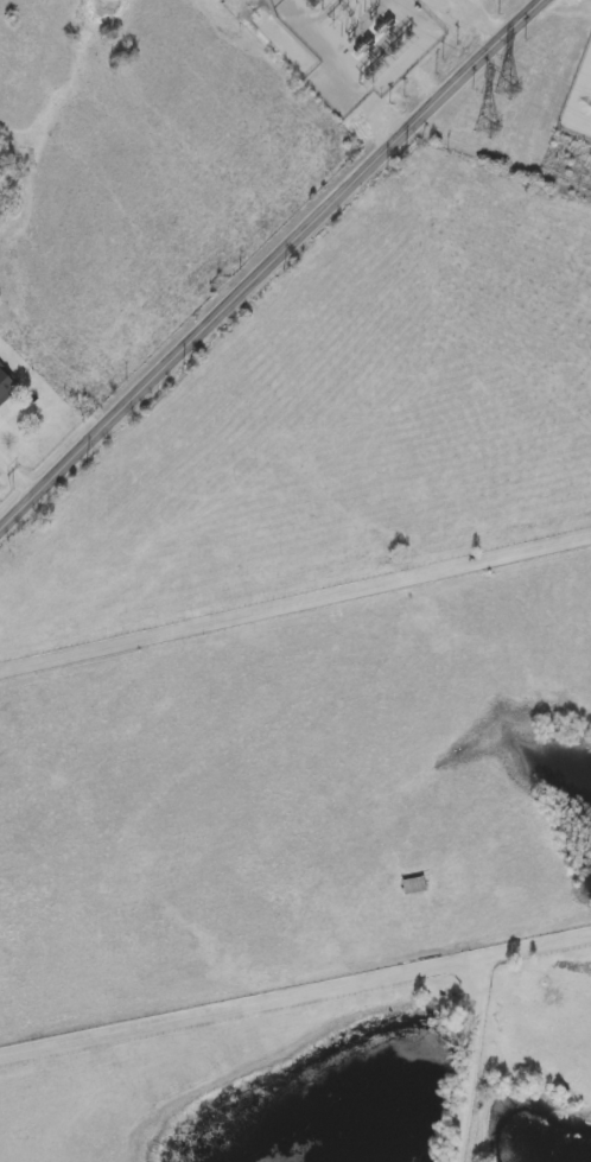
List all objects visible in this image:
power tower: (312, 0)
road: (476, 19)
power substation: (366, 44)
road: (413, 50)
power tower: (504, 87)
power substation: (579, 97)
power tower: (483, 126)
road: (272, 265)
building: (5, 379)
road: (15, 478)

